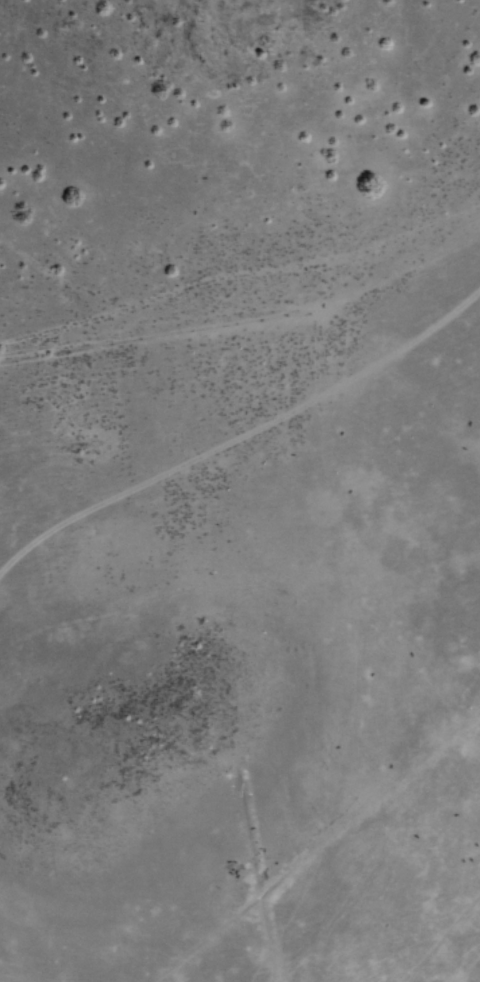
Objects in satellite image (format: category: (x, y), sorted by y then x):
road: (234, 267)
road: (63, 320)

